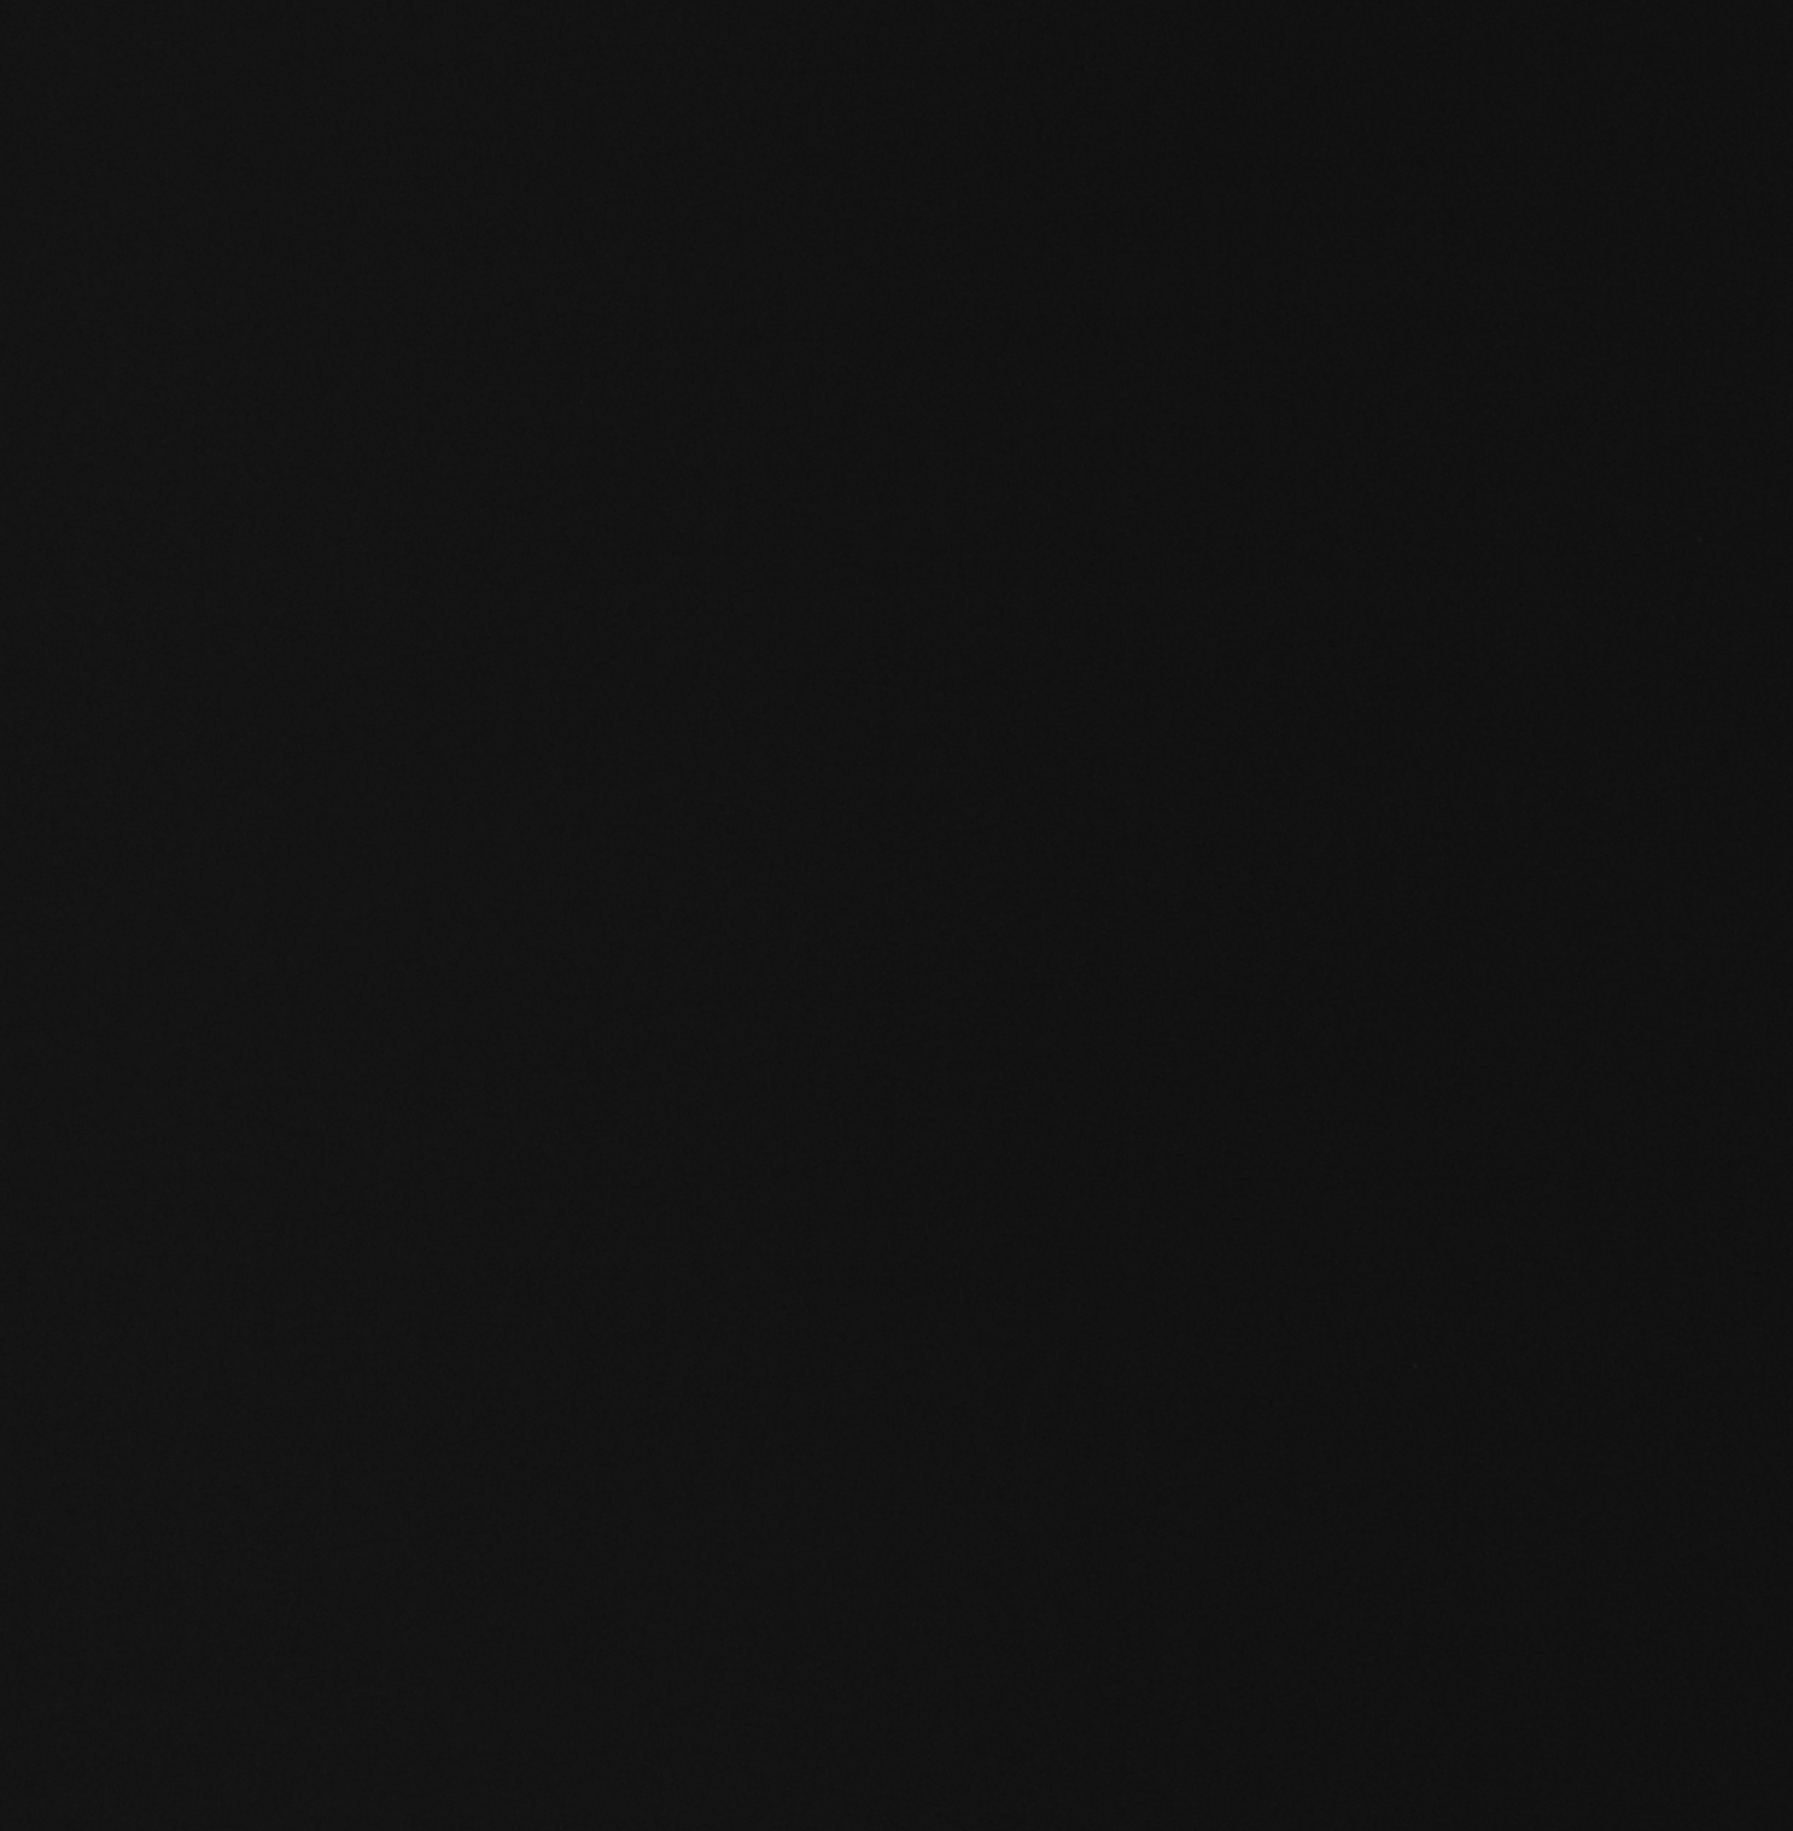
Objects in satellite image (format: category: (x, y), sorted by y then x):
river: (1704, 920)

